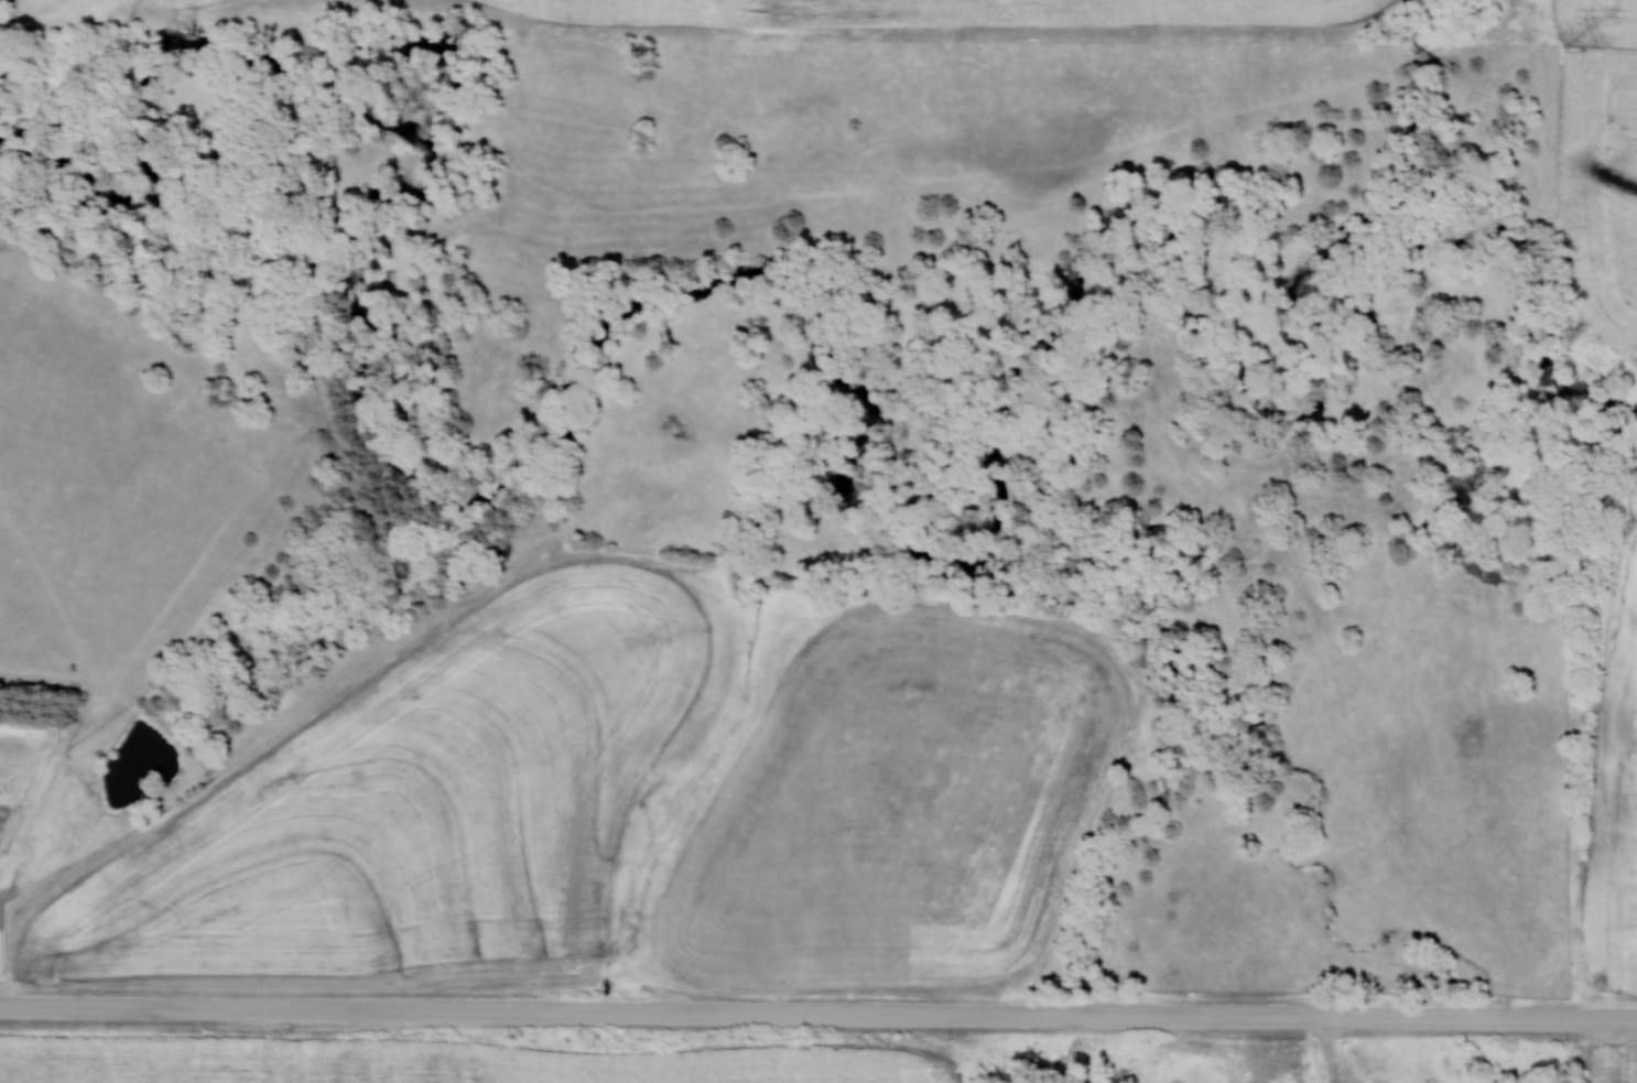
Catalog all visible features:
road: (818, 1018)

